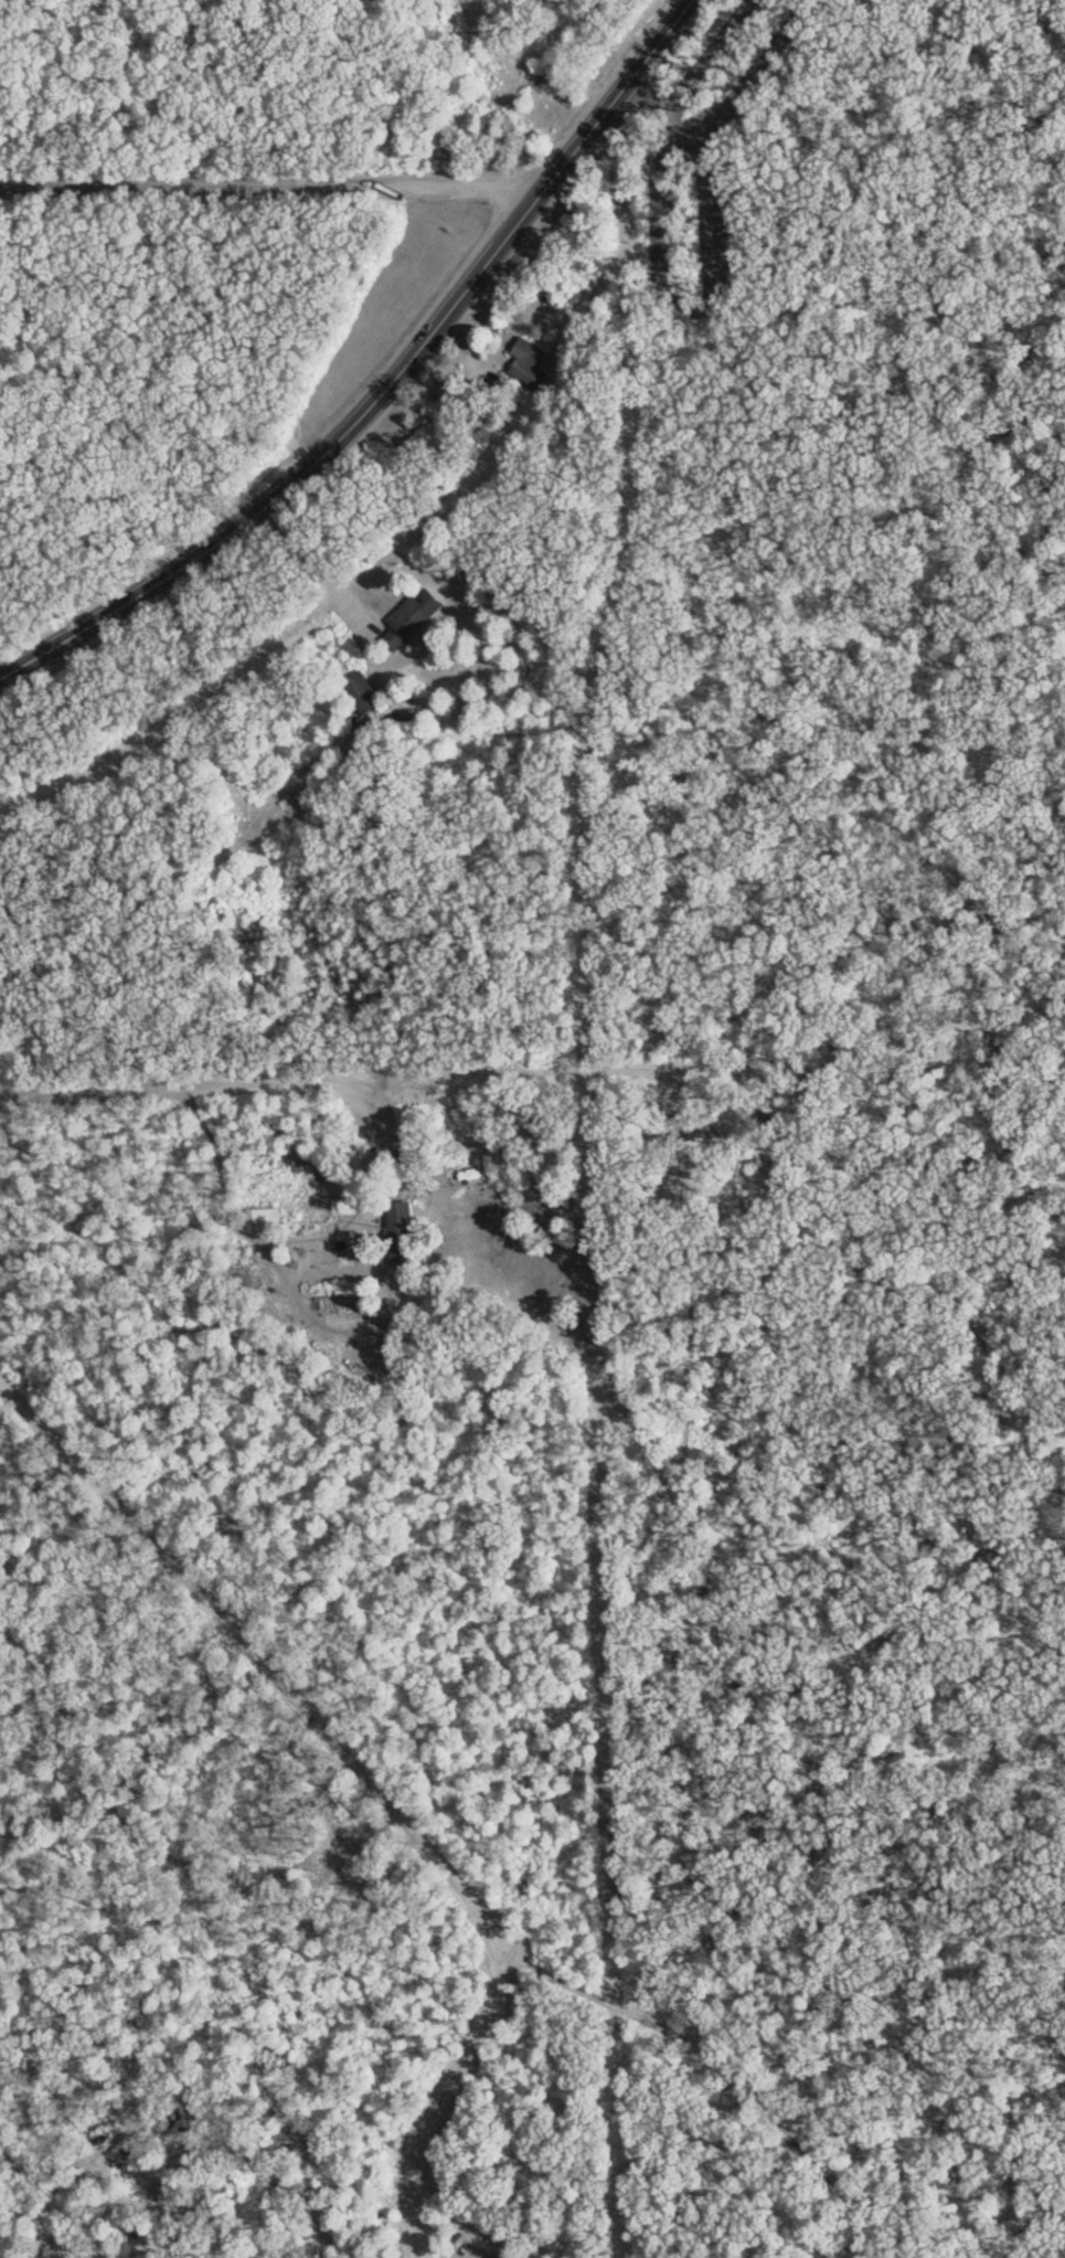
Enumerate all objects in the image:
parking lot: (727, 43)
road: (718, 50)
road: (1040, 52)
parking lot: (763, 76)
road: (764, 77)
road: (269, 183)
road: (770, 209)
parking lot: (664, 214)
parking lot: (716, 230)
road: (716, 252)
road: (931, 280)
building: (531, 364)
road: (391, 386)
road: (882, 454)
road: (312, 563)
building: (415, 617)
building: (364, 692)
road: (231, 1082)
road: (821, 1121)
building: (266, 1218)
building: (404, 1233)
road: (246, 1649)
road: (452, 2084)

